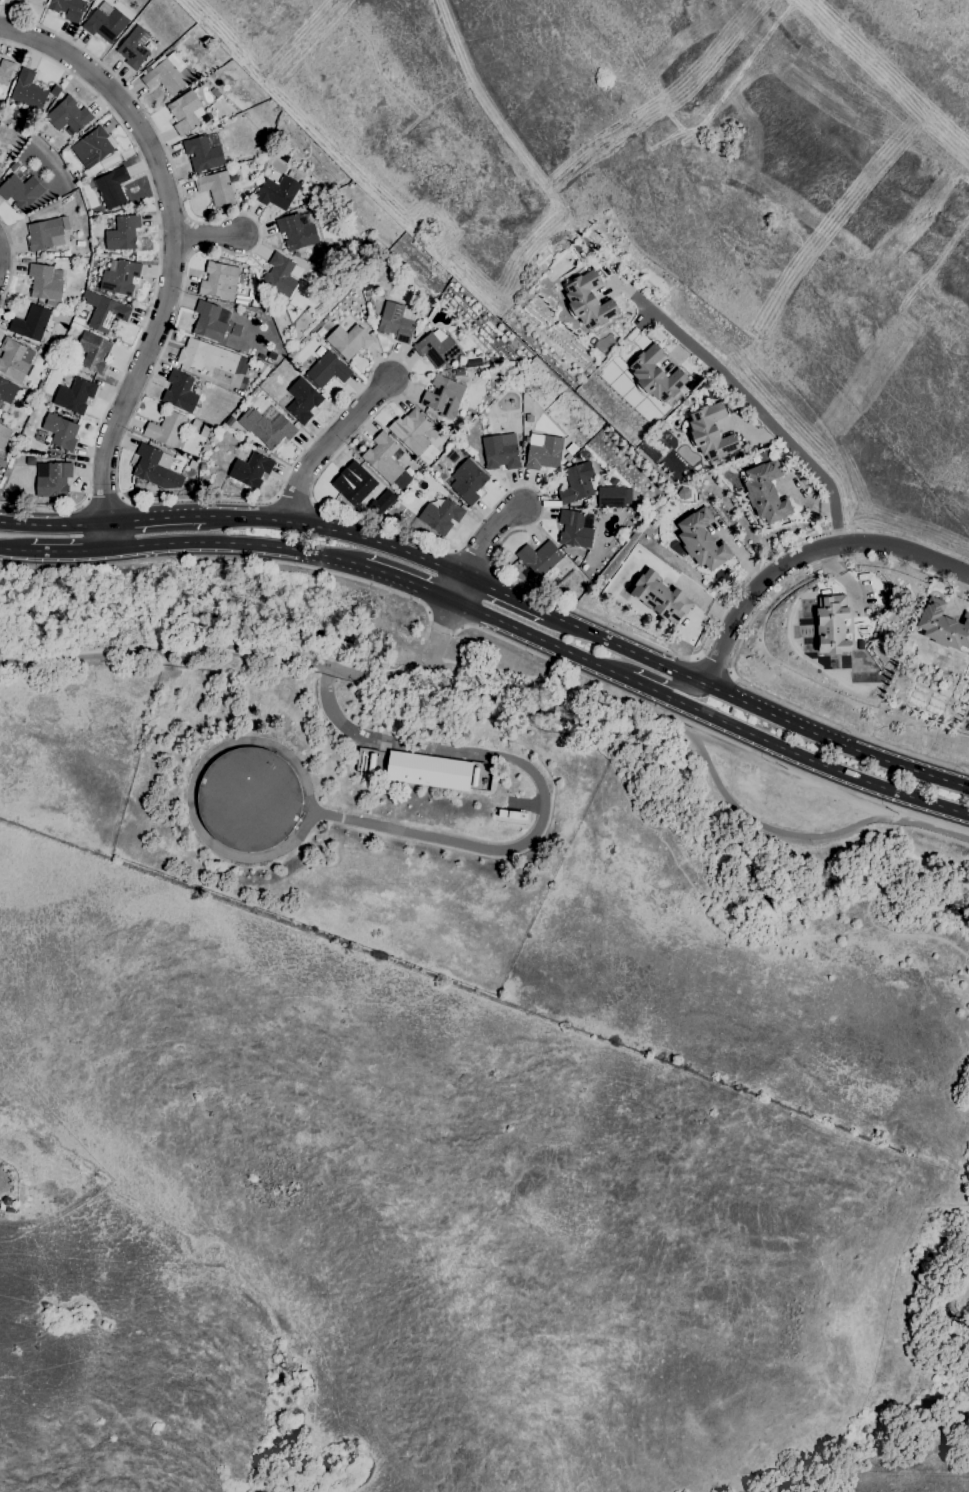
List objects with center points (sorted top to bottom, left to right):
building: (19, 0)
building: (67, 8)
building: (105, 24)
building: (133, 47)
building: (5, 70)
building: (165, 76)
building: (28, 90)
building: (55, 90)
building: (185, 112)
building: (68, 115)
building: (91, 152)
building: (203, 154)
building: (10, 156)
building: (108, 161)
building: (14, 166)
building: (112, 187)
building: (215, 187)
building: (276, 190)
building: (20, 191)
building: (249, 192)
building: (74, 216)
building: (64, 224)
building: (296, 231)
building: (122, 233)
building: (44, 235)
road: (209, 237)
building: (65, 253)
road: (0, 254)
building: (54, 254)
road: (172, 254)
building: (296, 254)
road: (14, 260)
building: (281, 274)
building: (120, 277)
building: (45, 281)
building: (219, 281)
road: (159, 283)
building: (365, 285)
building: (366, 292)
building: (588, 300)
building: (254, 302)
building: (104, 311)
building: (208, 321)
building: (397, 321)
building: (30, 323)
building: (320, 332)
building: (348, 340)
building: (436, 348)
building: (94, 352)
building: (210, 356)
building: (14, 358)
building: (473, 362)
building: (326, 370)
building: (459, 372)
building: (656, 374)
road: (362, 383)
building: (6, 390)
building: (180, 391)
building: (74, 395)
building: (443, 396)
building: (302, 400)
road: (752, 403)
building: (229, 420)
building: (267, 427)
building: (166, 428)
building: (60, 431)
building: (413, 431)
building: (710, 432)
building: (430, 433)
building: (4, 435)
building: (40, 435)
road: (333, 446)
building: (500, 451)
building: (543, 451)
building: (21, 457)
building: (384, 457)
building: (567, 457)
building: (192, 464)
building: (202, 466)
building: (156, 468)
building: (251, 470)
building: (53, 479)
building: (400, 480)
building: (468, 480)
building: (612, 480)
building: (357, 483)
building: (575, 484)
building: (765, 489)
building: (684, 493)
building: (8, 494)
building: (611, 496)
road: (104, 499)
building: (440, 515)
road: (154, 519)
road: (52, 521)
building: (575, 528)
road: (337, 533)
building: (701, 540)
road: (234, 545)
road: (481, 546)
road: (15, 549)
road: (67, 550)
road: (805, 553)
building: (539, 557)
road: (224, 558)
building: (577, 560)
road: (409, 584)
road: (505, 595)
building: (660, 597)
building: (832, 624)
building: (943, 625)
road: (440, 629)
road: (735, 652)
road: (713, 662)
road: (409, 665)
road: (644, 672)
road: (515, 676)
road: (754, 705)
road: (710, 713)
road: (707, 730)
road: (198, 772)
building: (411, 777)
road: (548, 787)
building: (249, 799)
water tower: (249, 800)
road: (955, 1285)

